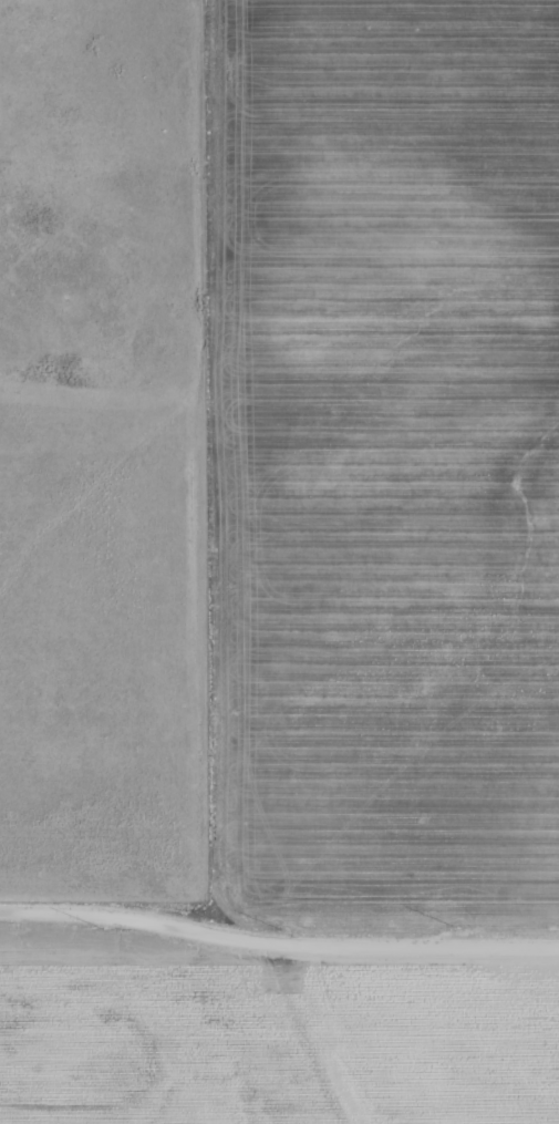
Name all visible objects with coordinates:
road: (278, 939)

